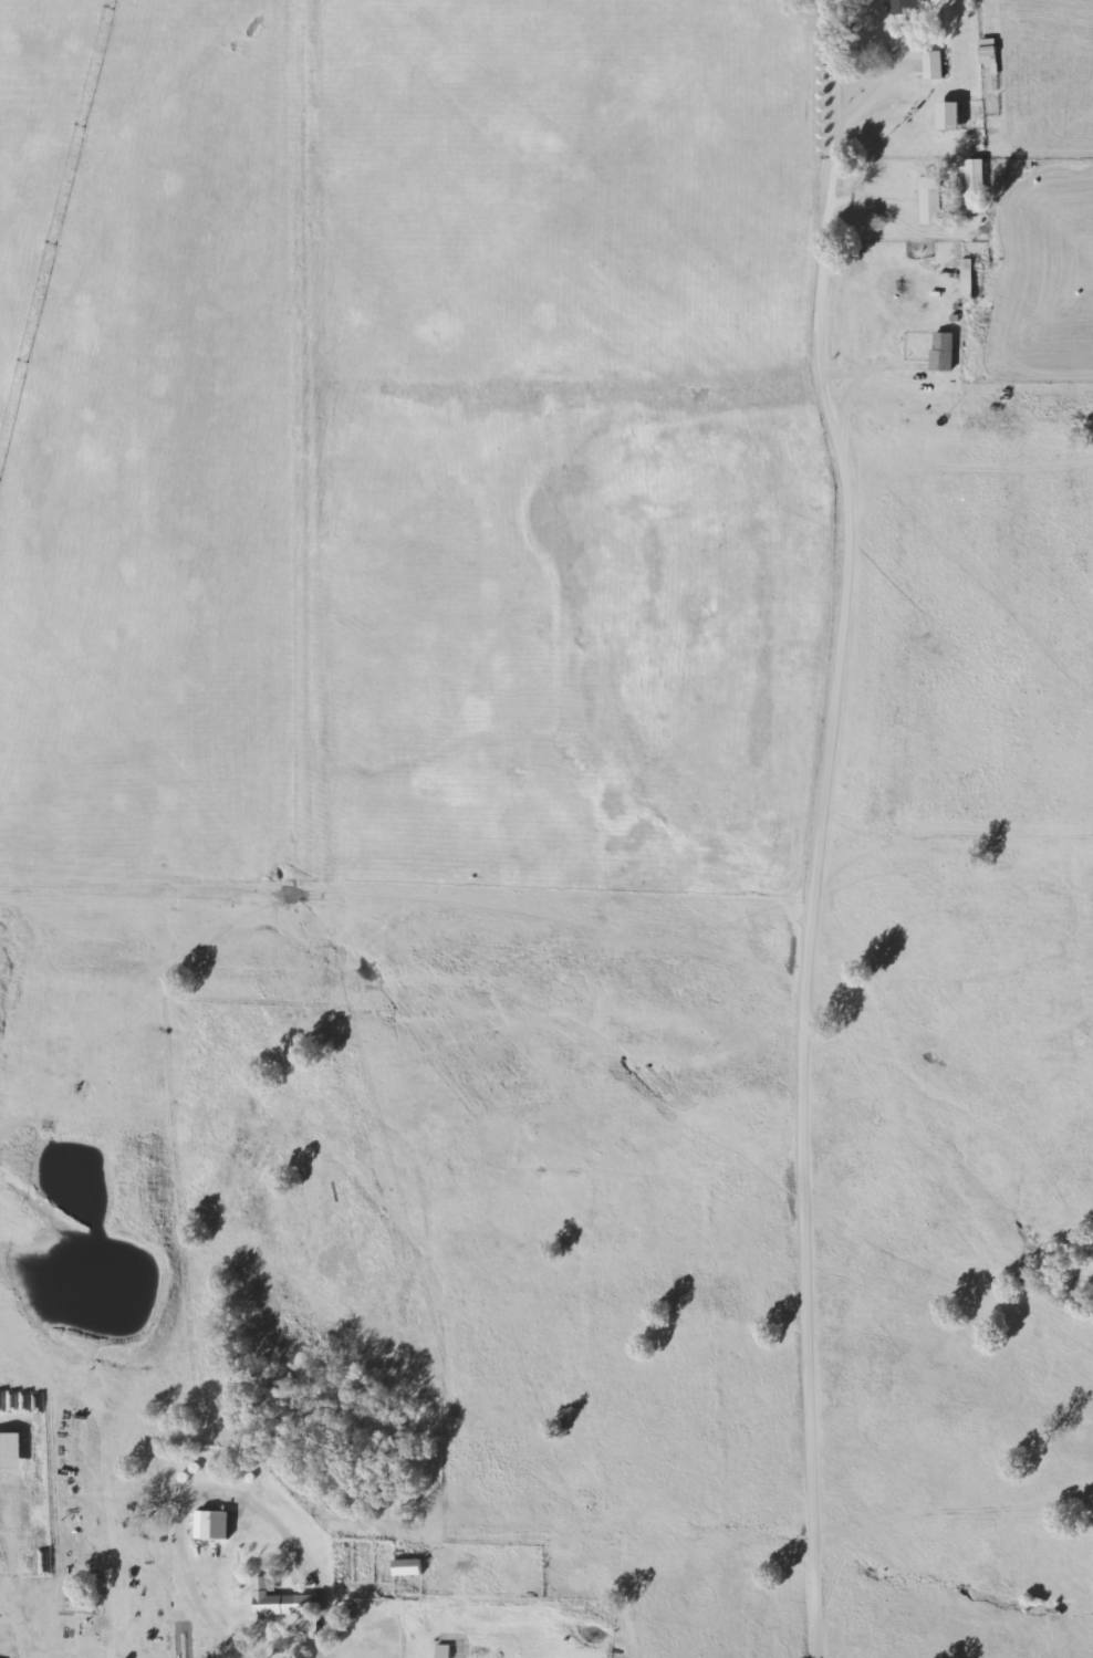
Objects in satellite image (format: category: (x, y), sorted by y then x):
building: (904, 8)
building: (987, 51)
building: (931, 64)
road: (889, 80)
building: (950, 115)
building: (976, 185)
building: (931, 199)
road: (829, 219)
building: (966, 279)
building: (941, 351)
road: (808, 978)
road: (218, 1493)
road: (73, 1506)
building: (212, 1524)
building: (407, 1564)
building: (272, 1599)
building: (443, 1651)

